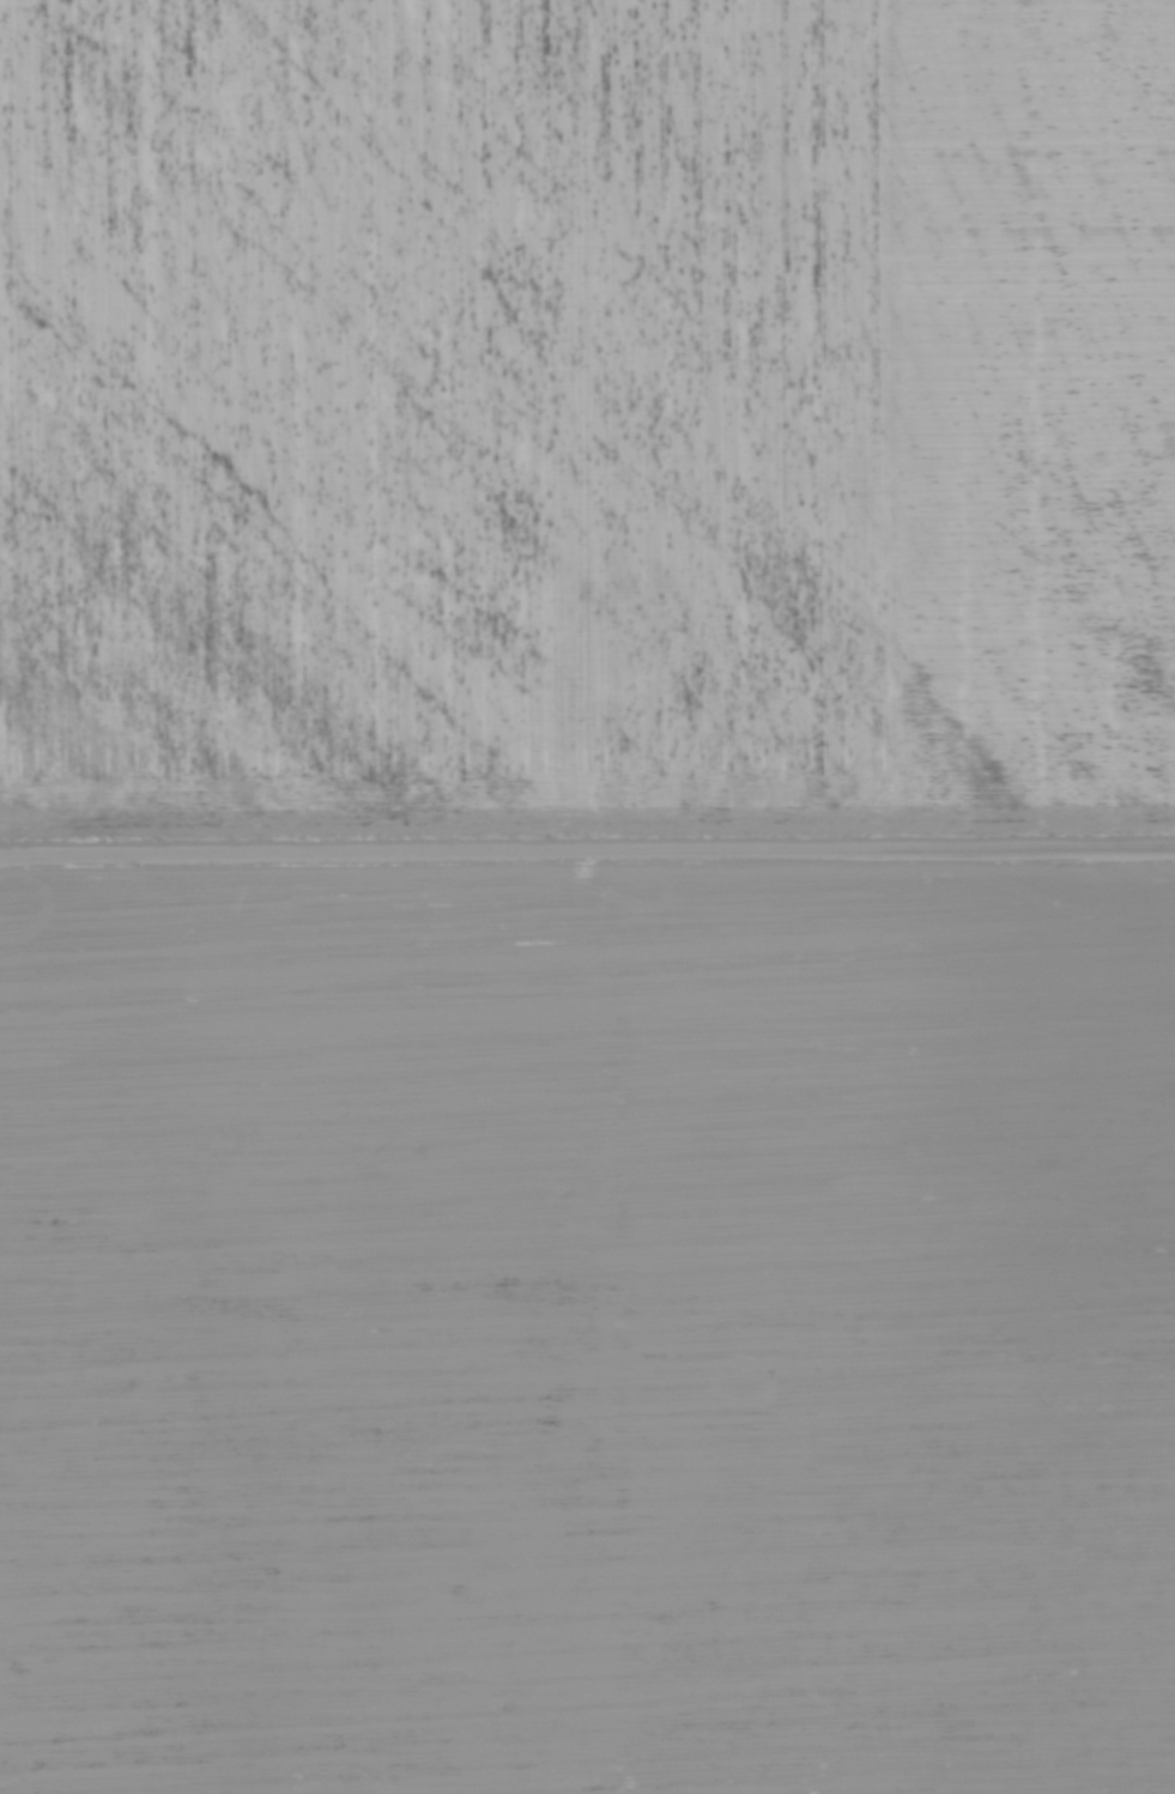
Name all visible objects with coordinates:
road: (587, 861)

